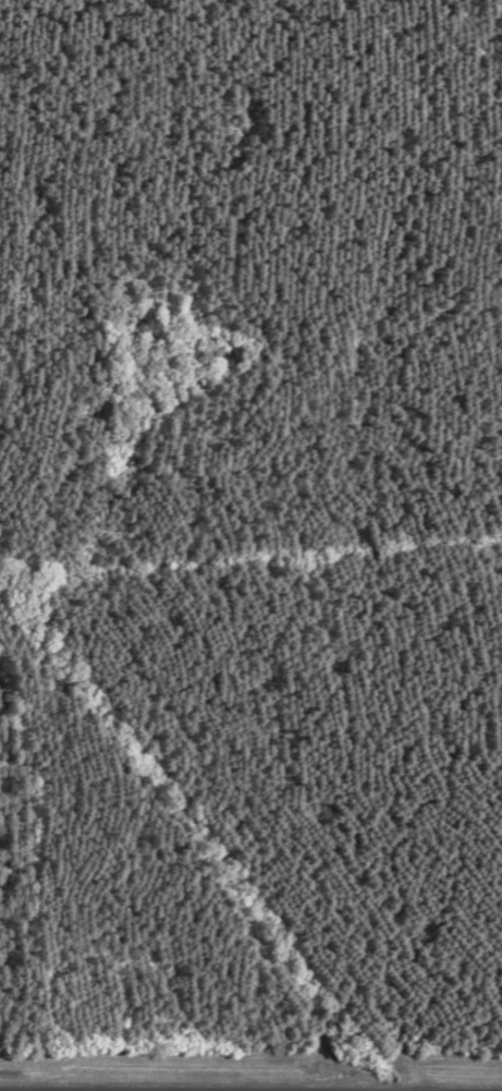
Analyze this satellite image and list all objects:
road: (8, 1090)

